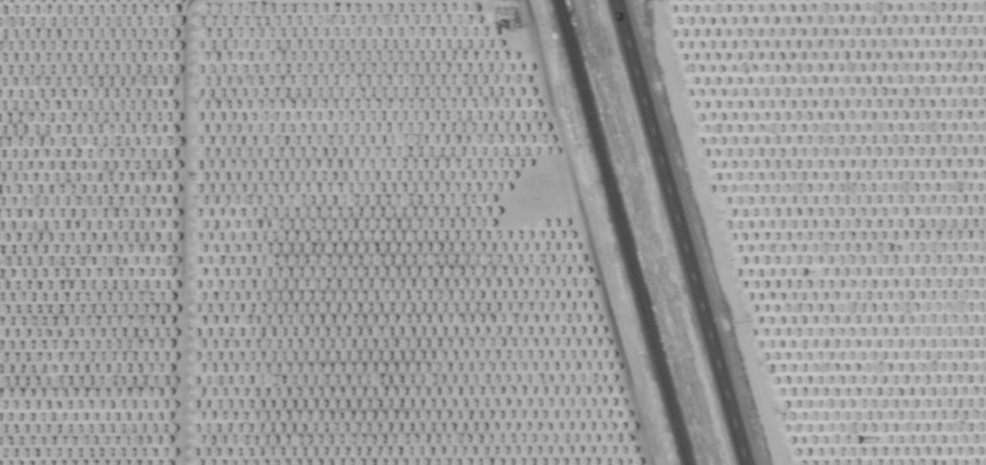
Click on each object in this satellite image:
road: (175, 229)
crop: (493, 232)
railway: (617, 232)
road: (675, 232)

